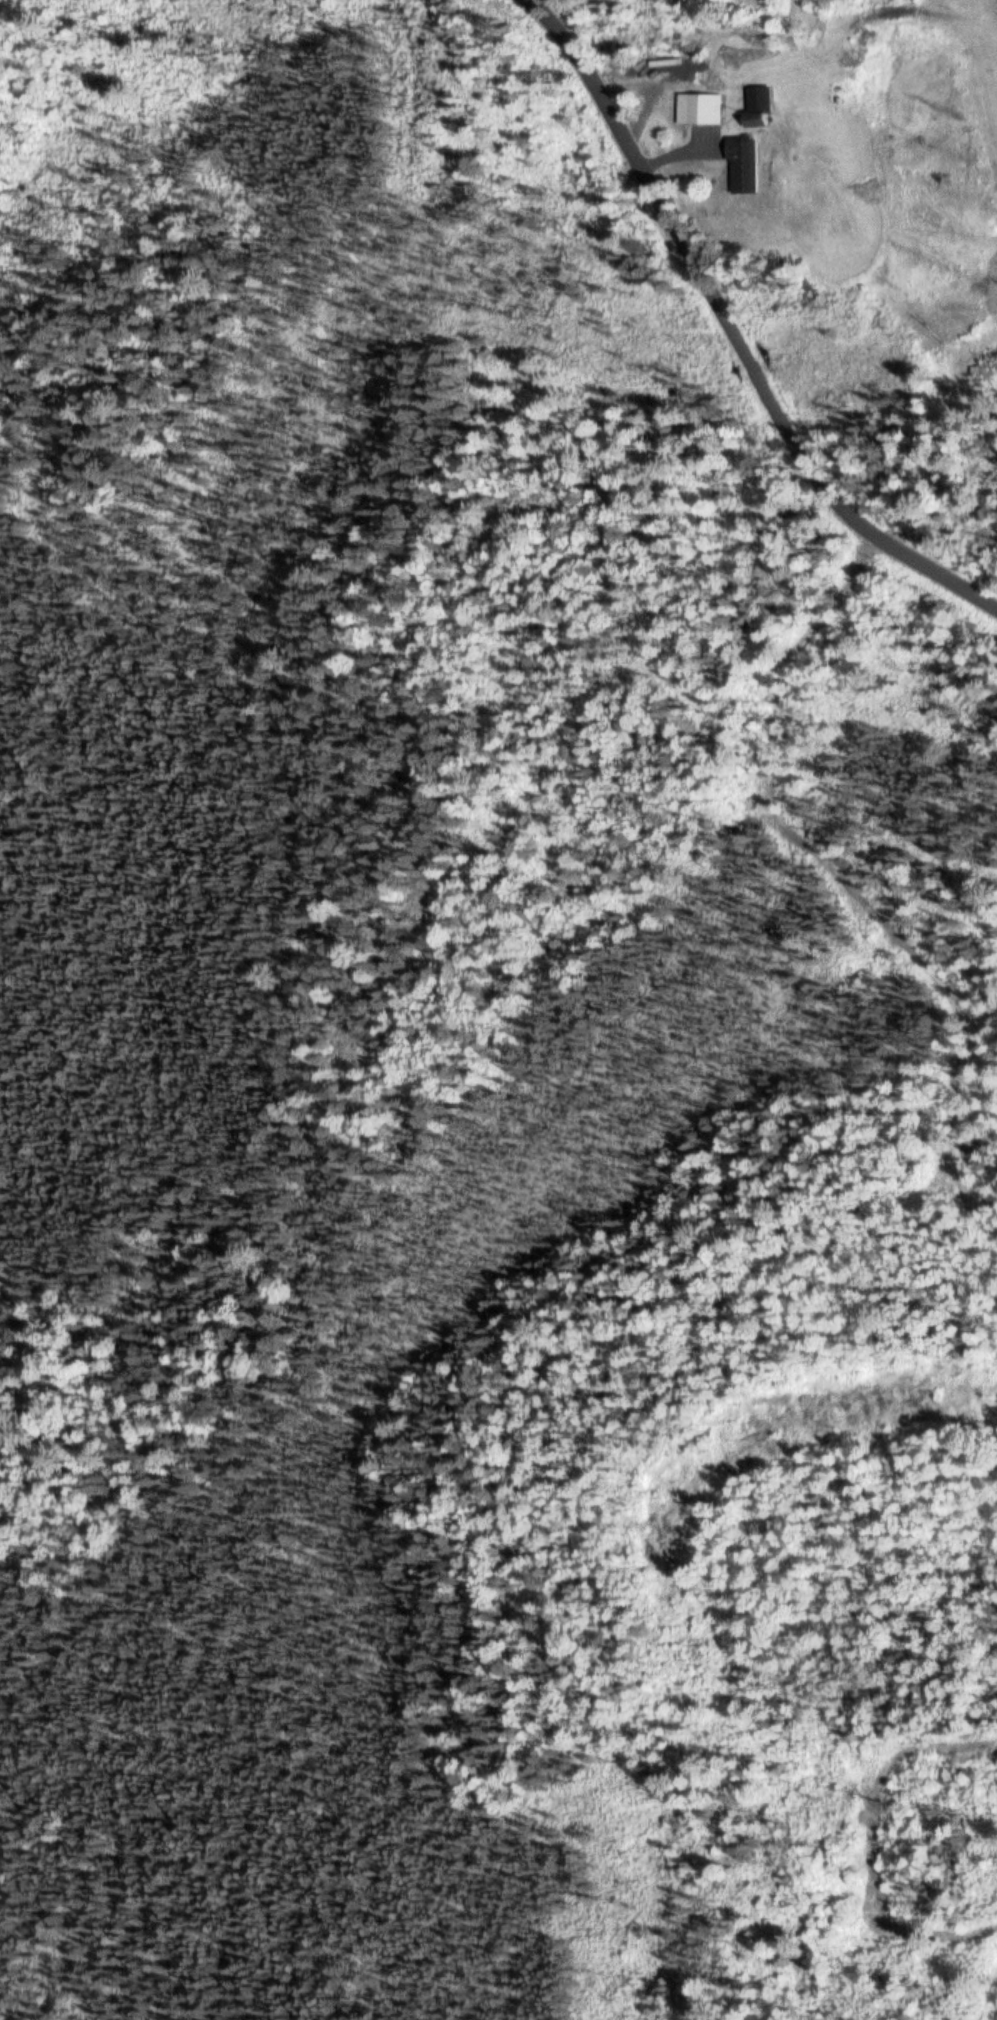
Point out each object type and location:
building: (757, 100)
building: (698, 107)
building: (742, 162)
road: (731, 333)

